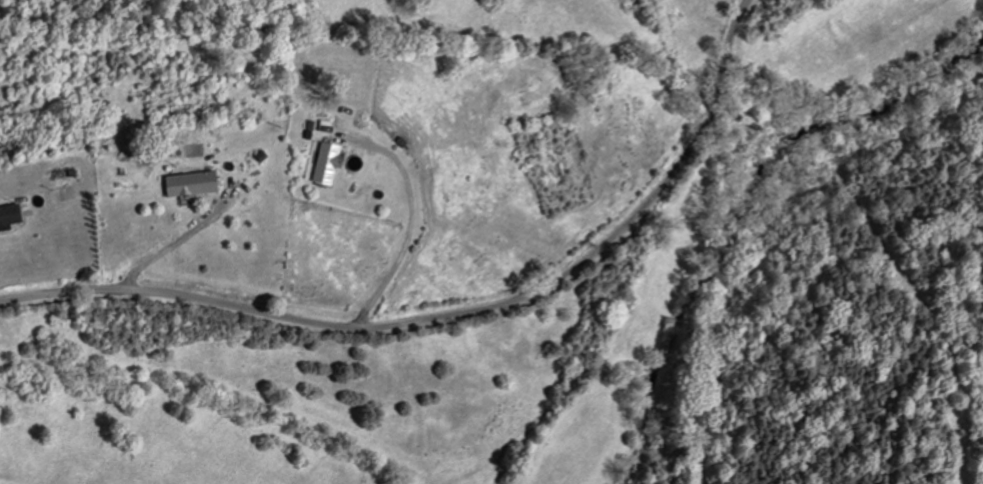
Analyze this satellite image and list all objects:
building: (321, 163)
building: (186, 183)
building: (7, 214)
road: (410, 233)
road: (453, 314)

